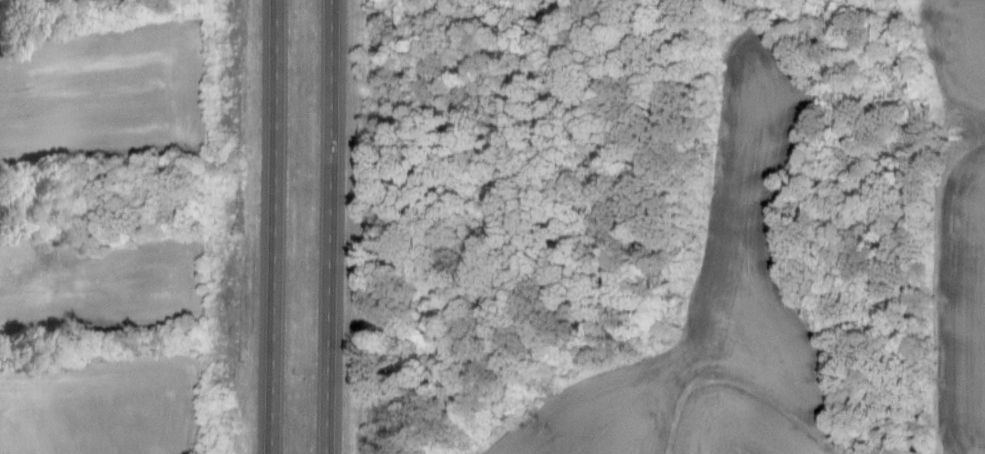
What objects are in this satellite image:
road: (274, 227)
road: (331, 227)

